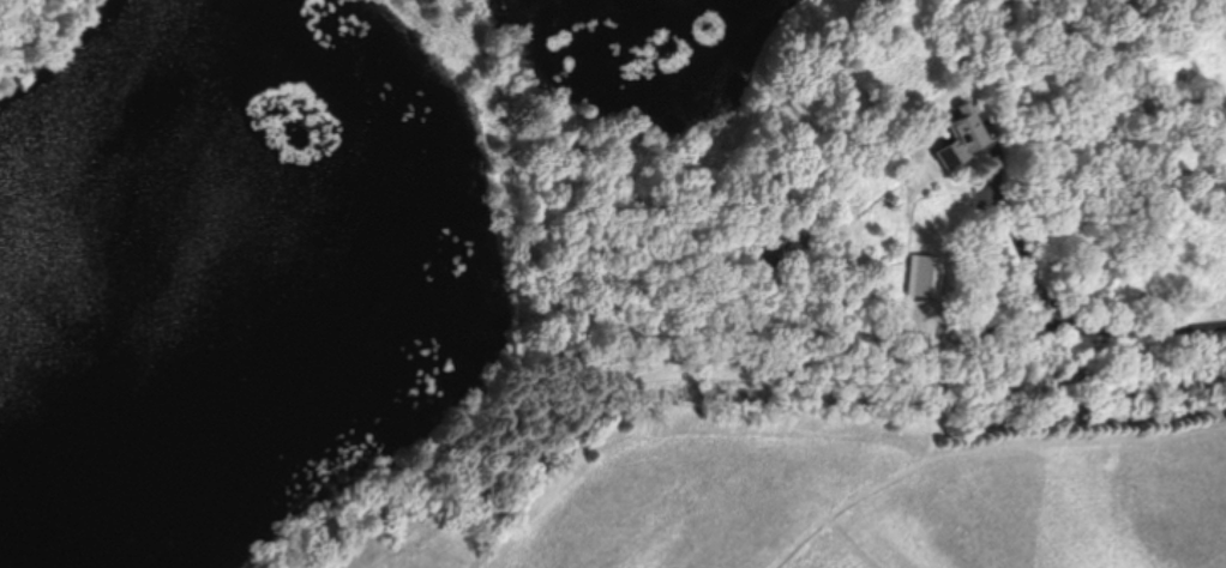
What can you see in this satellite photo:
building: (967, 137)
road: (1020, 246)
building: (782, 249)
building: (925, 276)
road: (1123, 327)

